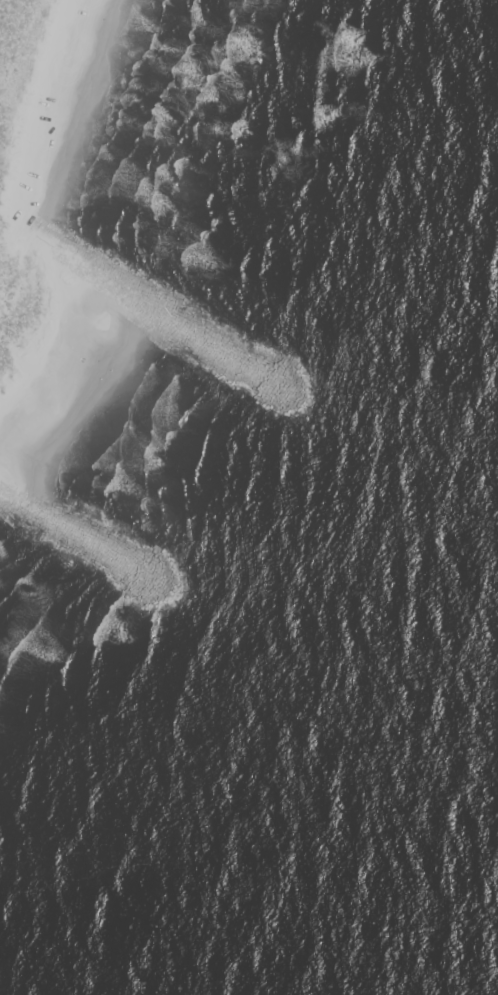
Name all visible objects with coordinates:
road: (63, 89)
park: (139, 174)
park: (39, 625)

